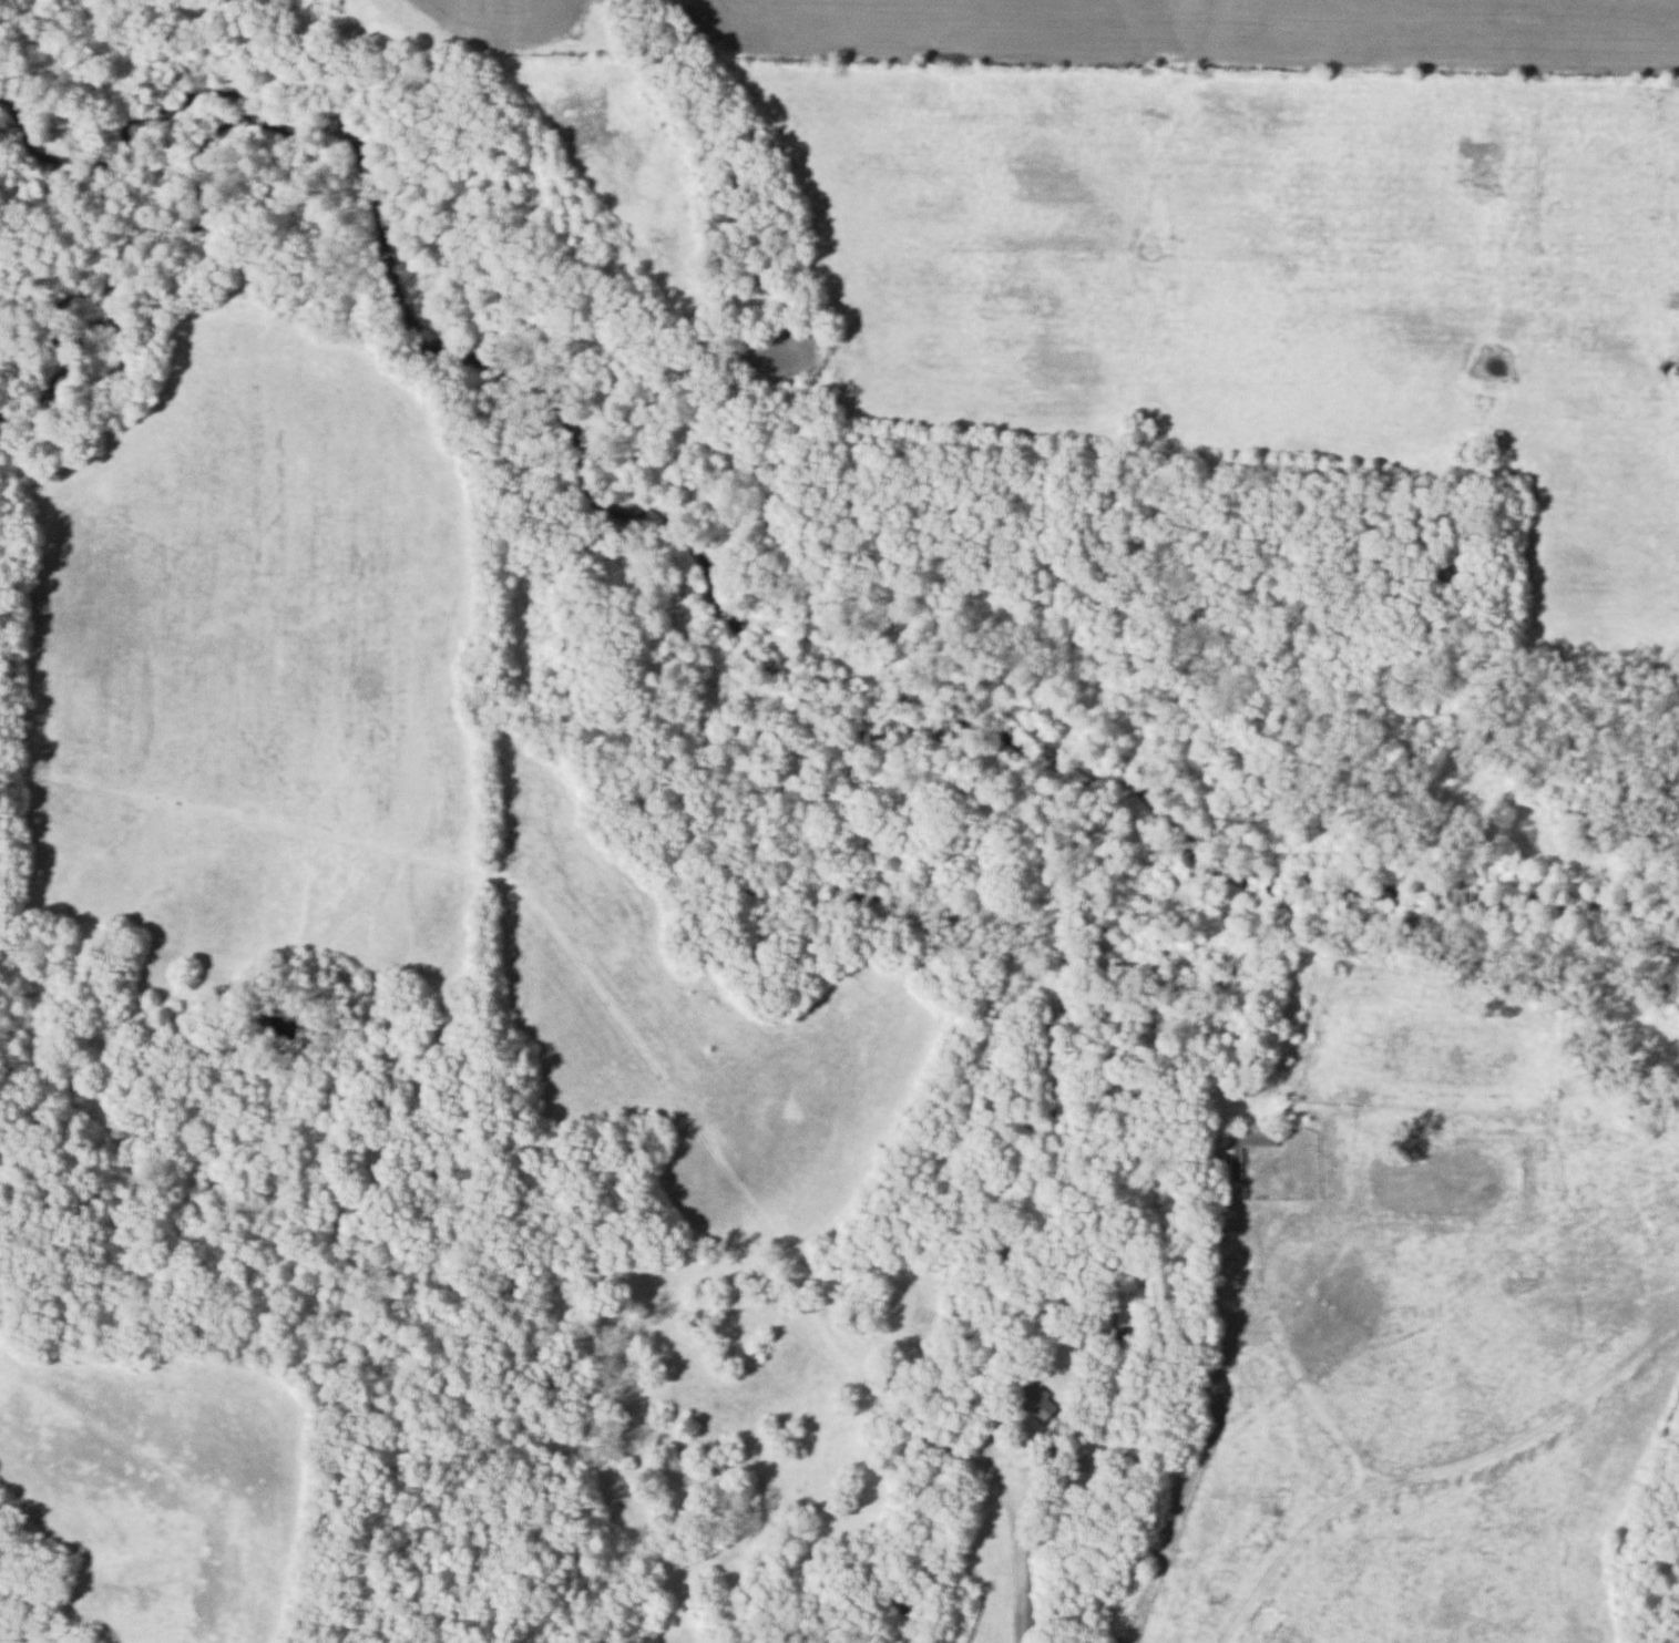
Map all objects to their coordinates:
building: (1230, 1164)
building: (1035, 1401)
road: (1414, 1472)
road: (1184, 1509)
road: (1015, 1517)
road: (1292, 1544)
building: (898, 1606)

